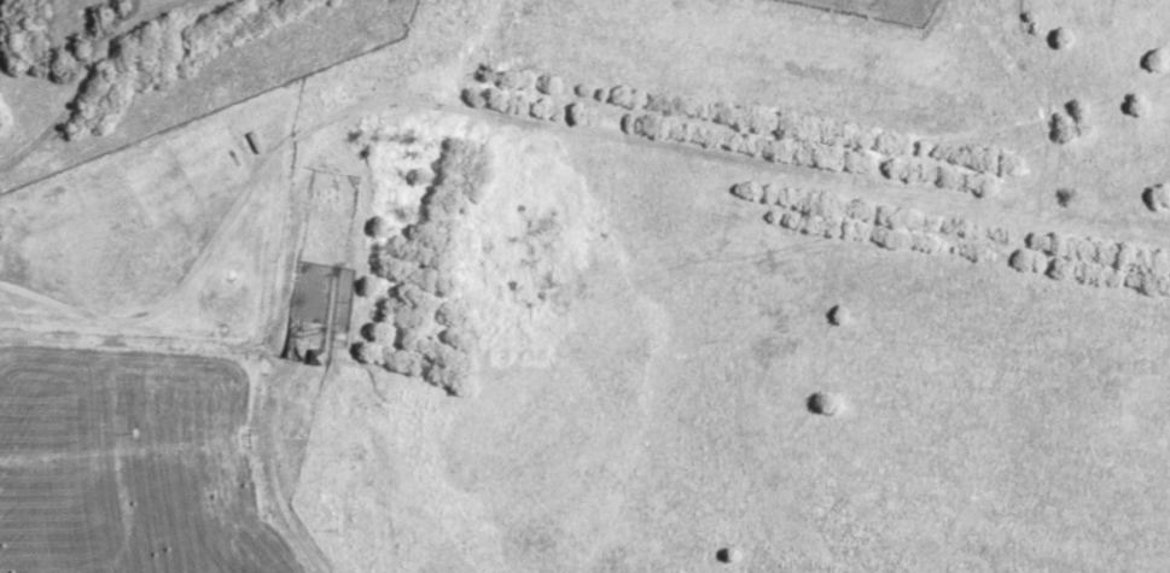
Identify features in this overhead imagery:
building: (2, 230)

